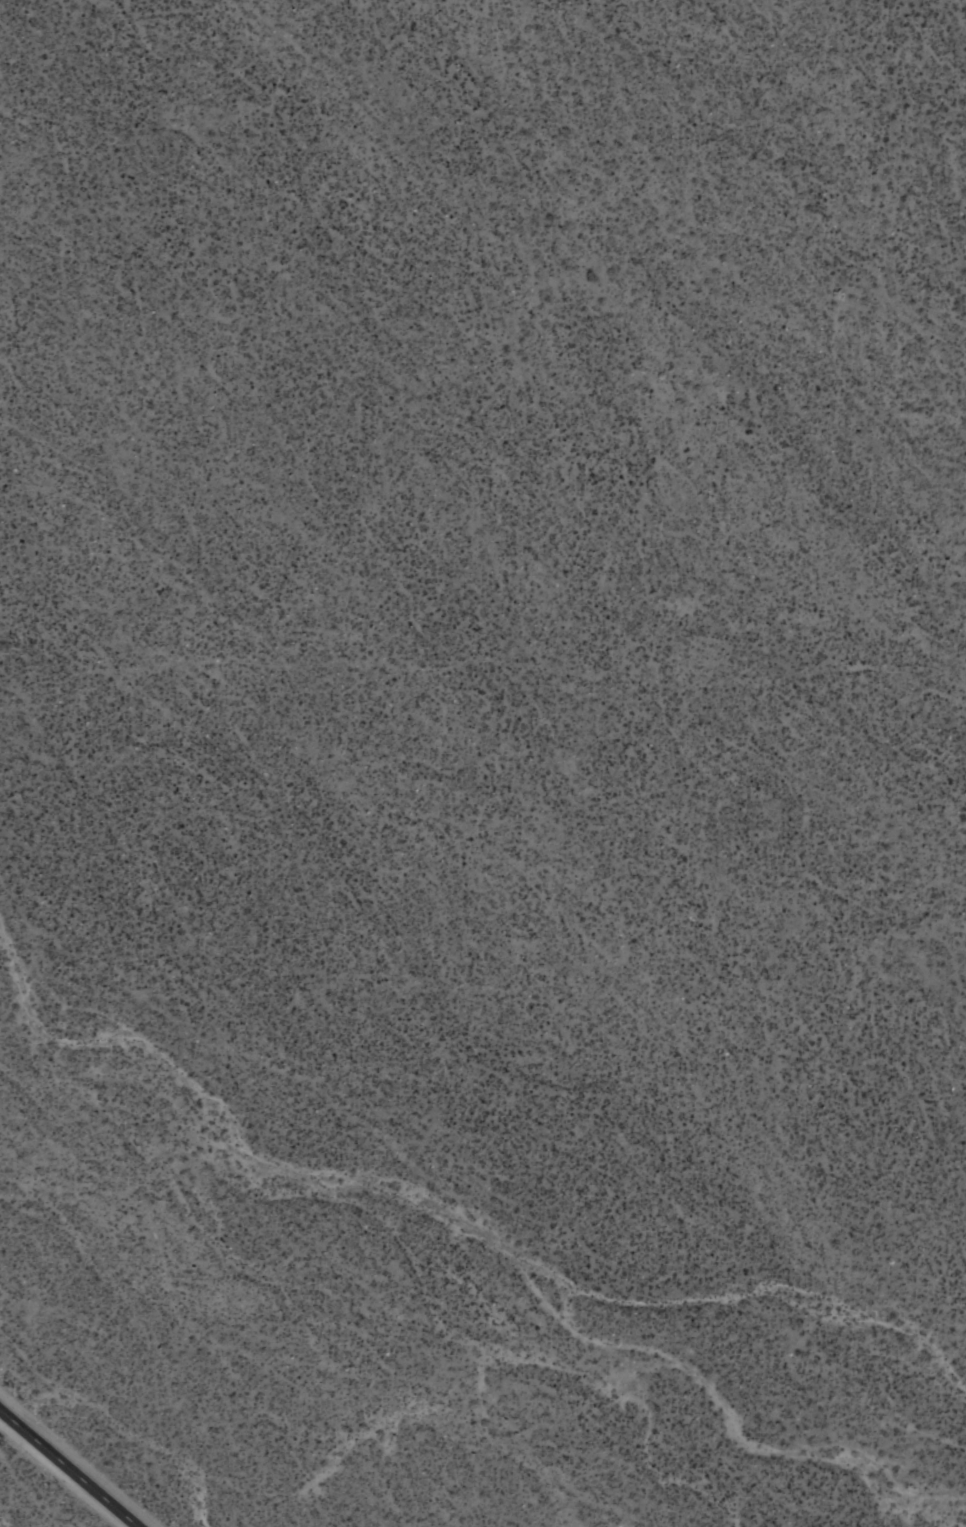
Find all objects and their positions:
road: (66, 1470)

